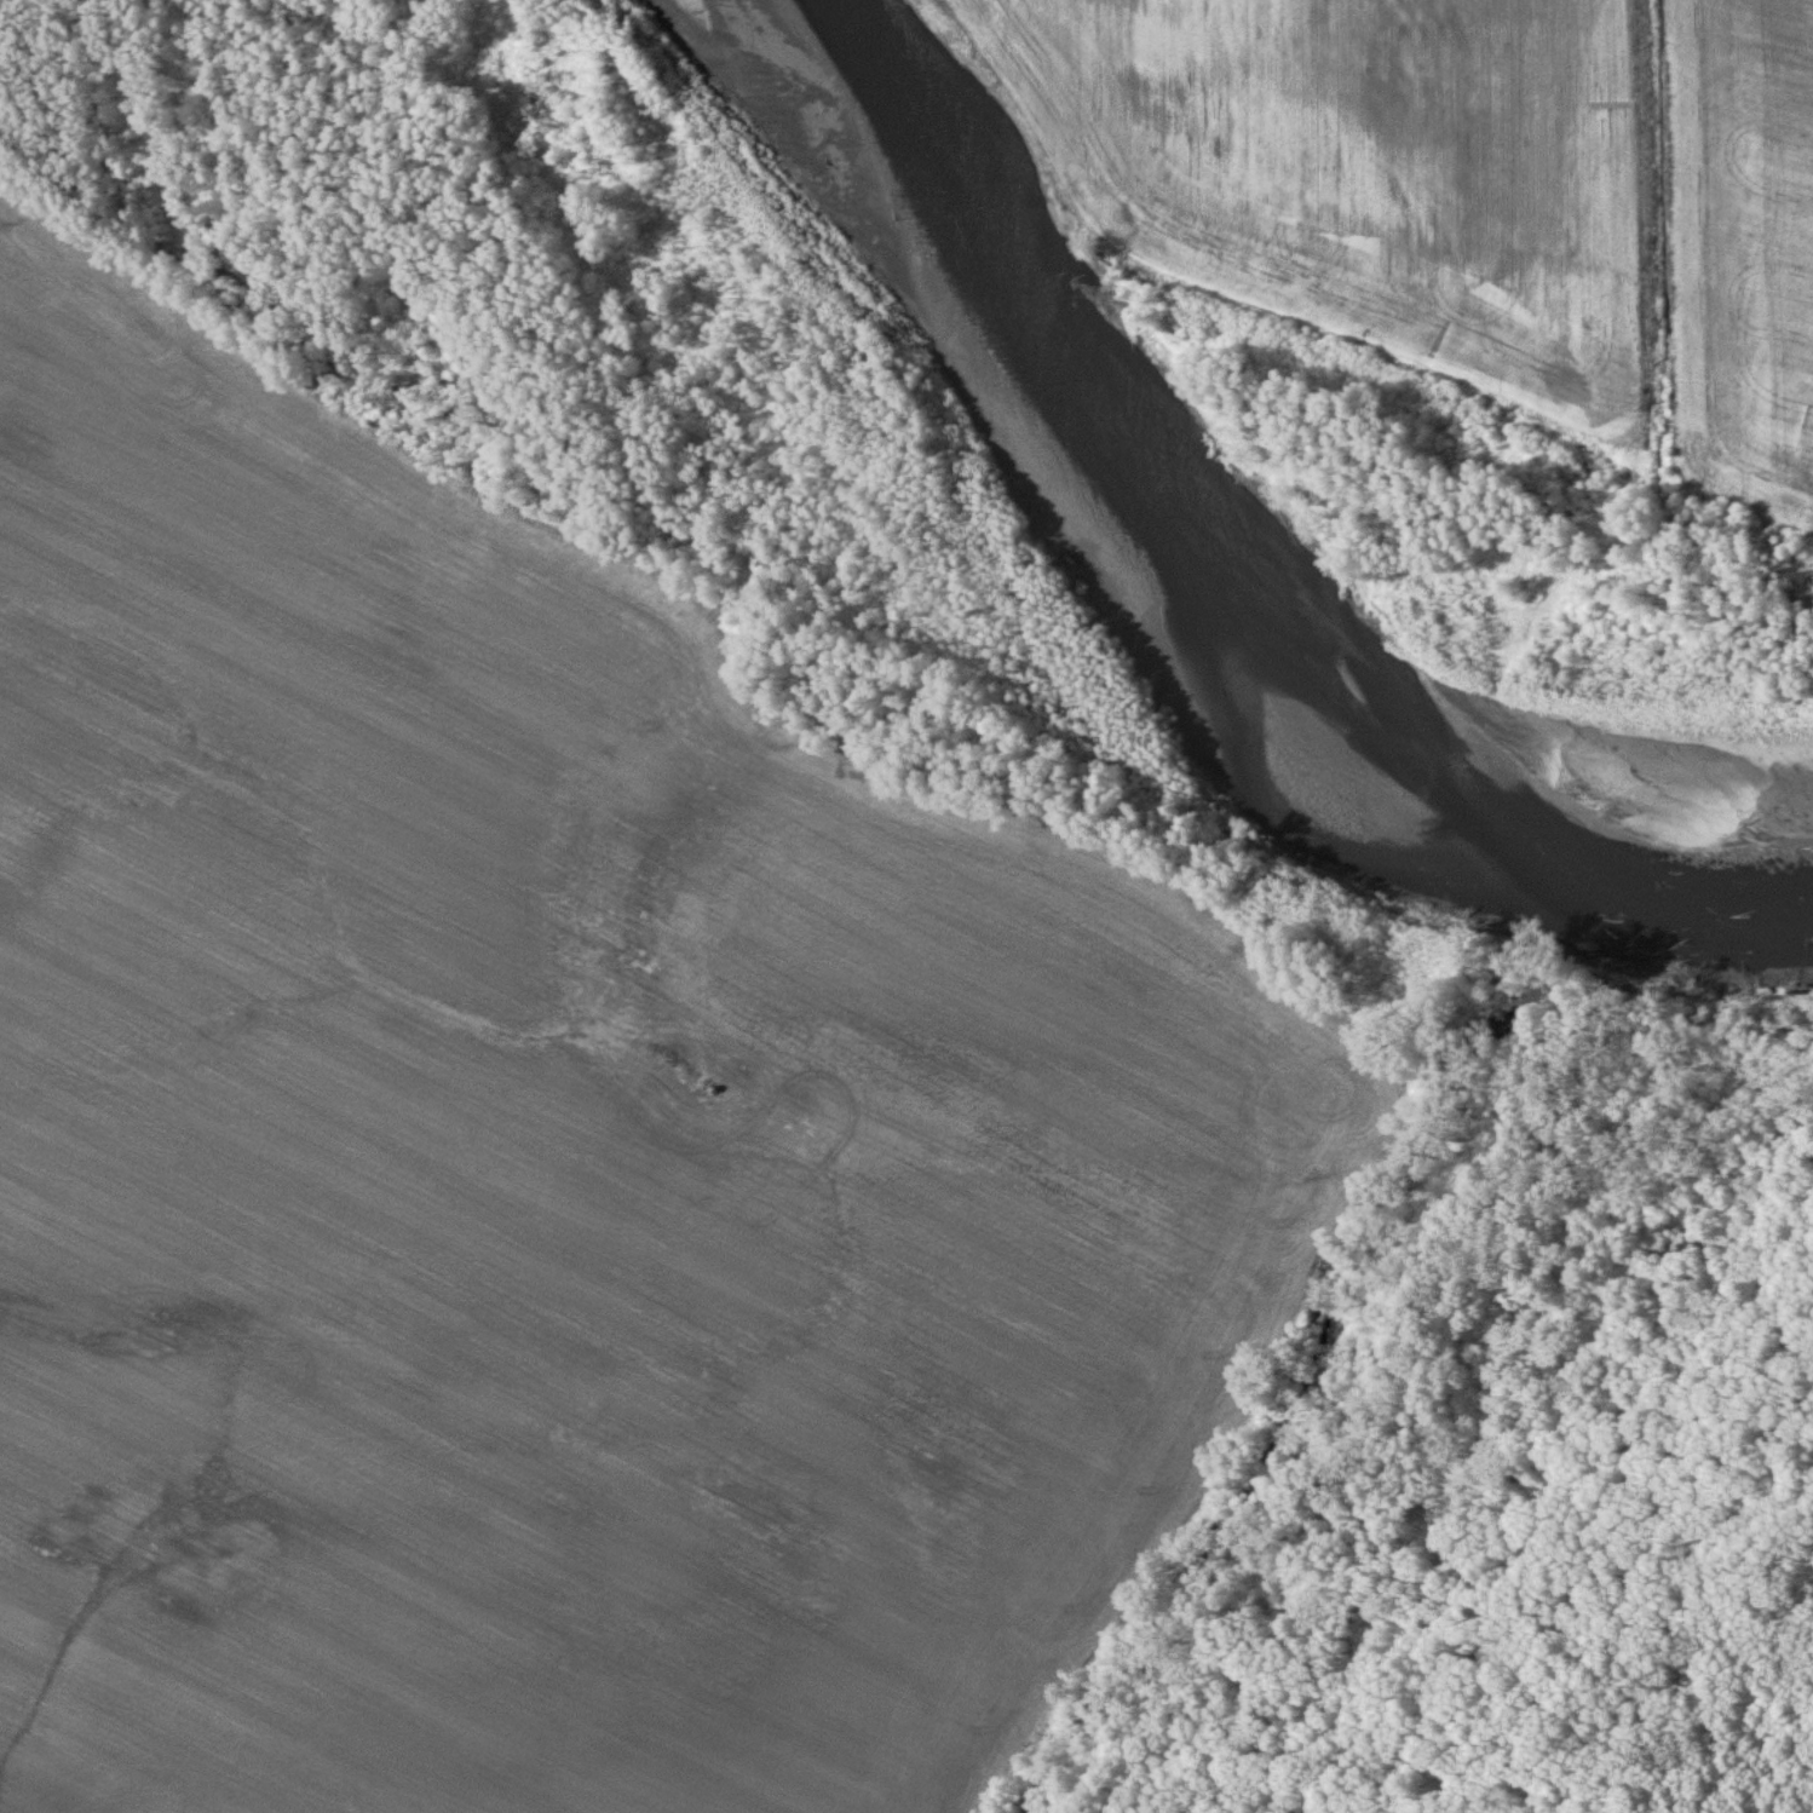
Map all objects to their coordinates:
river: (1181, 629)
park: (766, 1065)
crop: (548, 1152)
road: (1519, 1562)
road: (1697, 1681)

